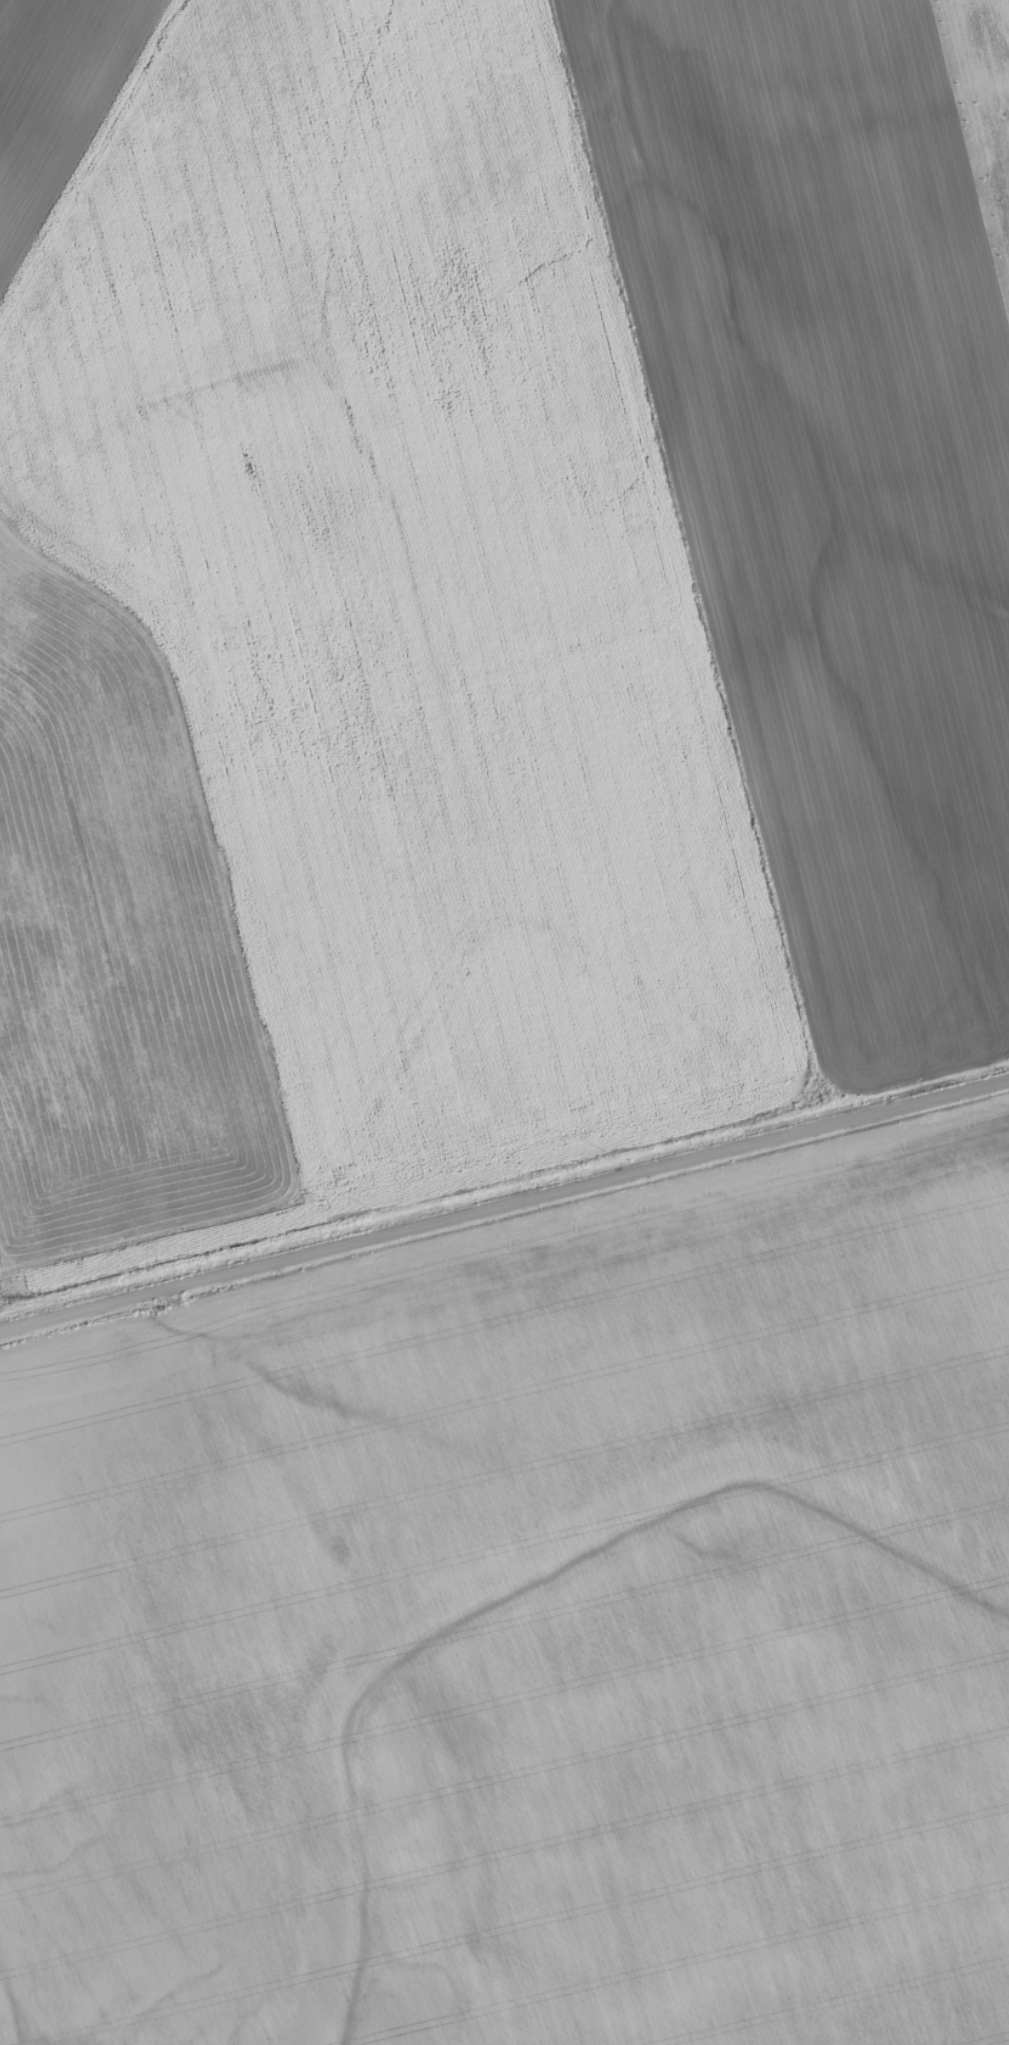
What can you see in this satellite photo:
road: (504, 1198)

